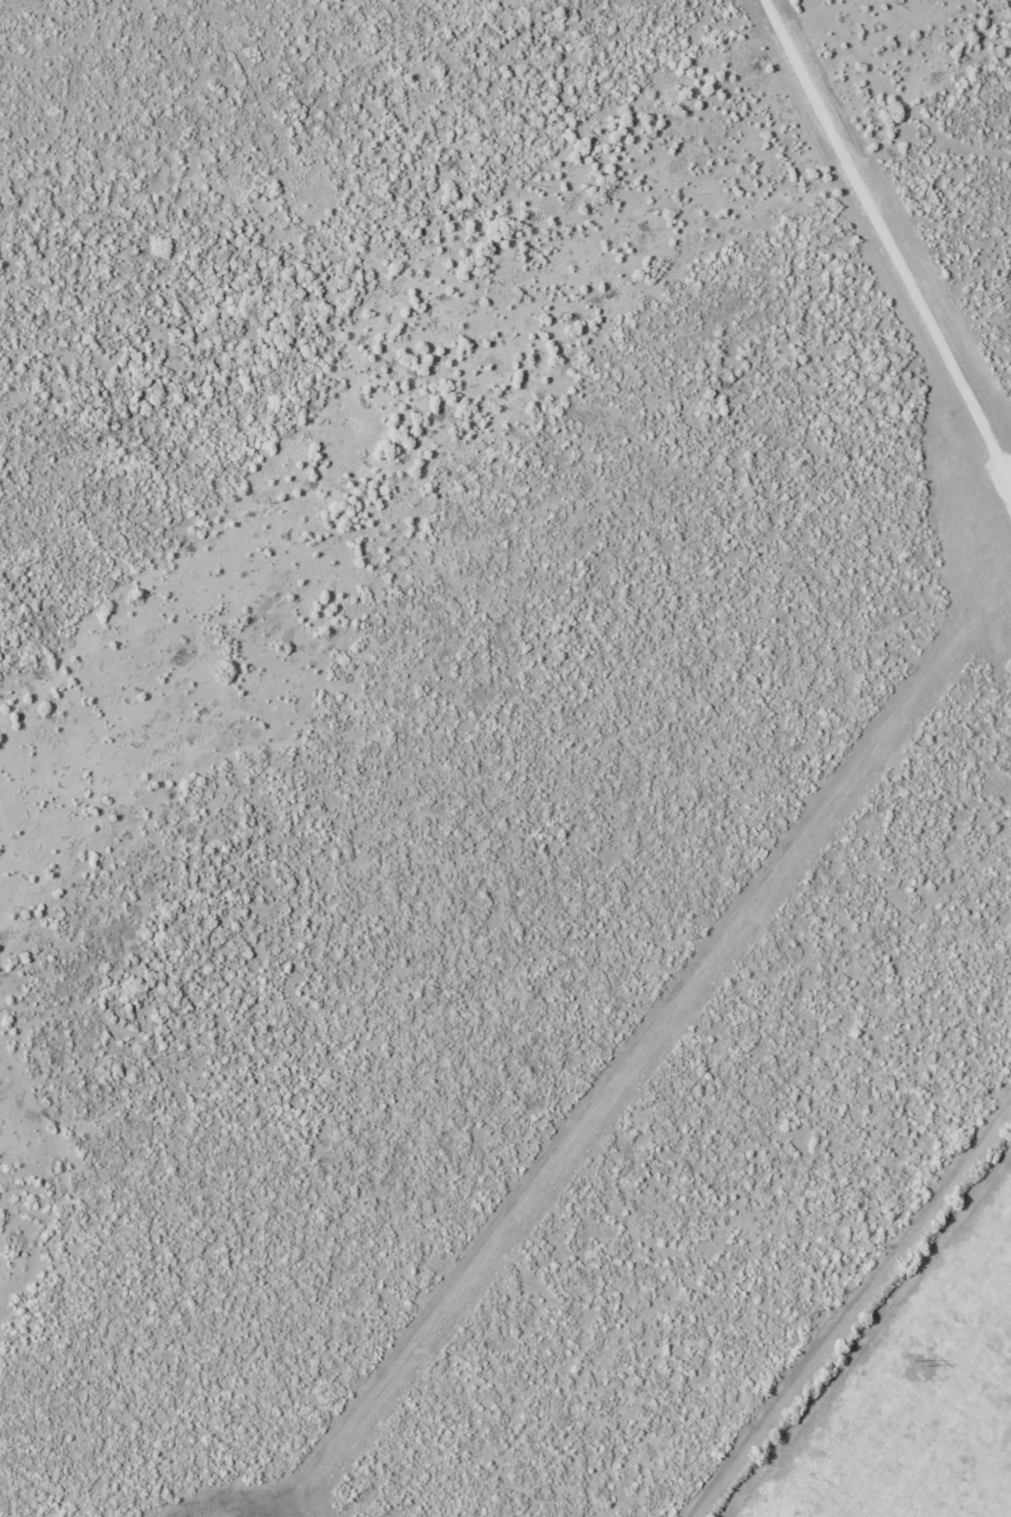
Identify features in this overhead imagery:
power tower: (918, 1361)

